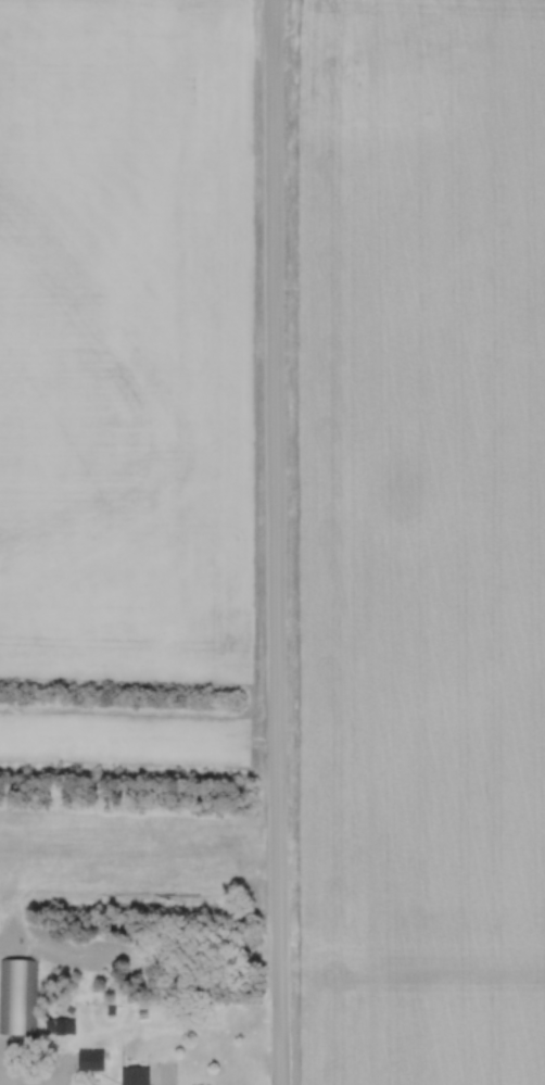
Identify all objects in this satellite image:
road: (276, 542)
building: (17, 995)
building: (87, 1059)
building: (131, 1075)

